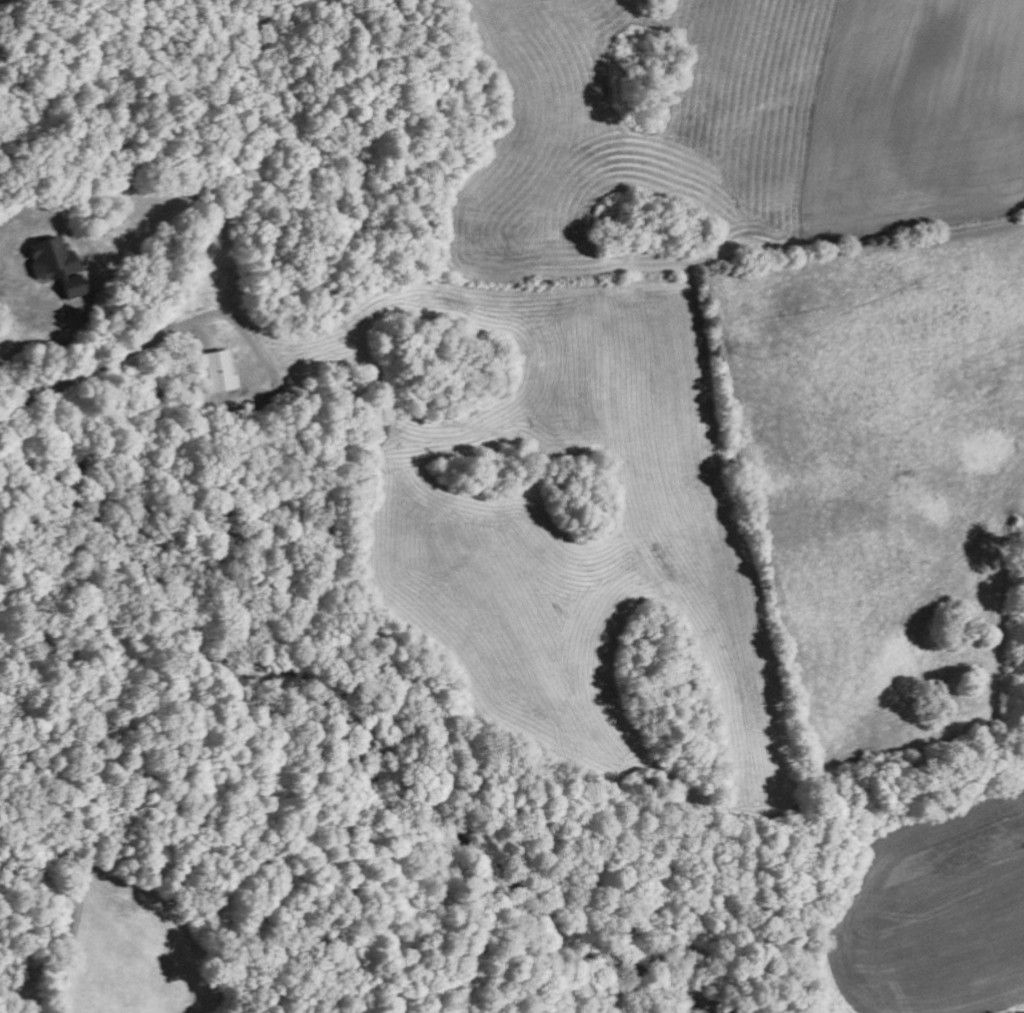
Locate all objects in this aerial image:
building: (54, 264)
building: (217, 371)
road: (82, 890)

